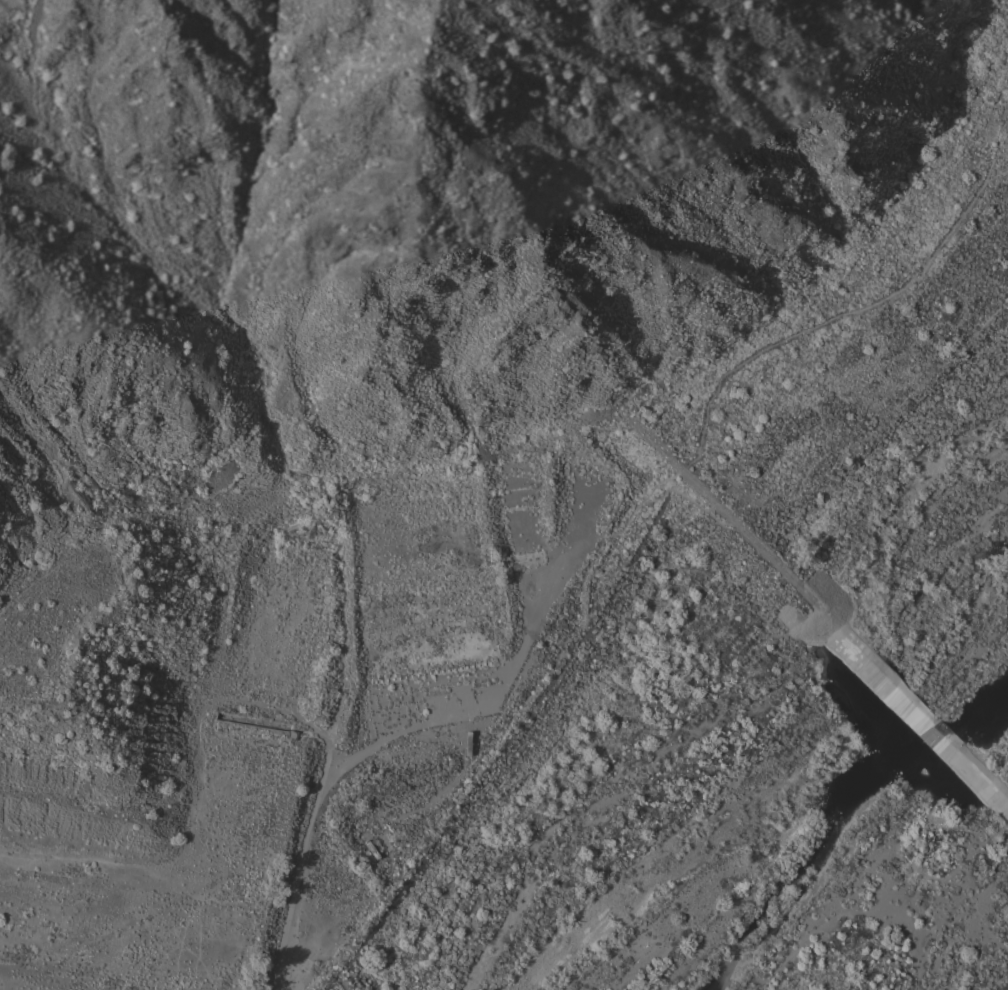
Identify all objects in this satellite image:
quarry: (298, 455)
river: (927, 674)
road: (389, 735)
river: (854, 761)
river: (761, 826)

